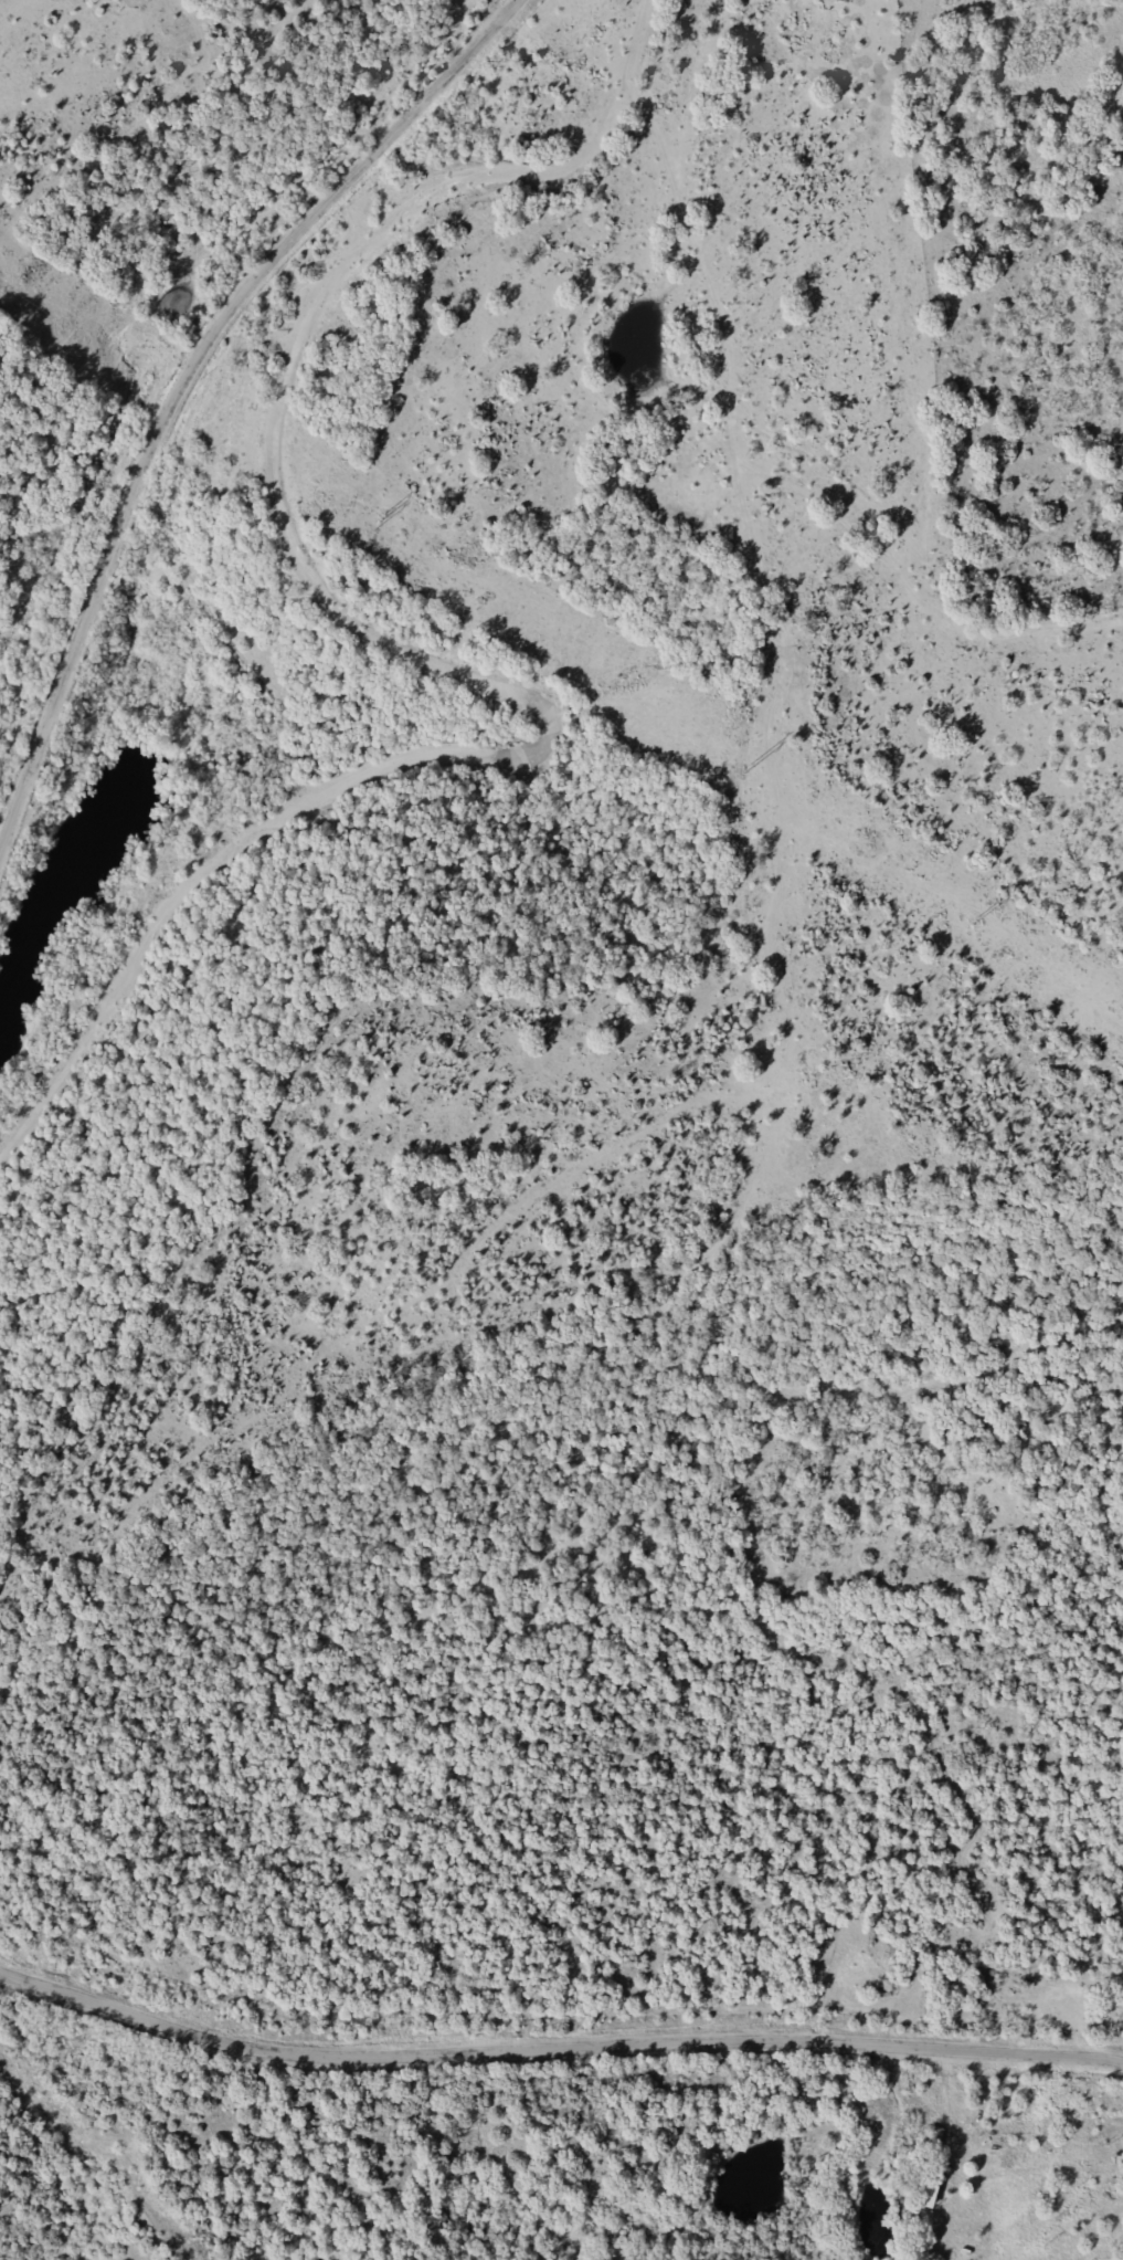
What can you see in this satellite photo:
road: (184, 370)
power tower: (377, 521)
road: (555, 2047)
road: (952, 2113)
building: (931, 2136)
building: (926, 2183)

